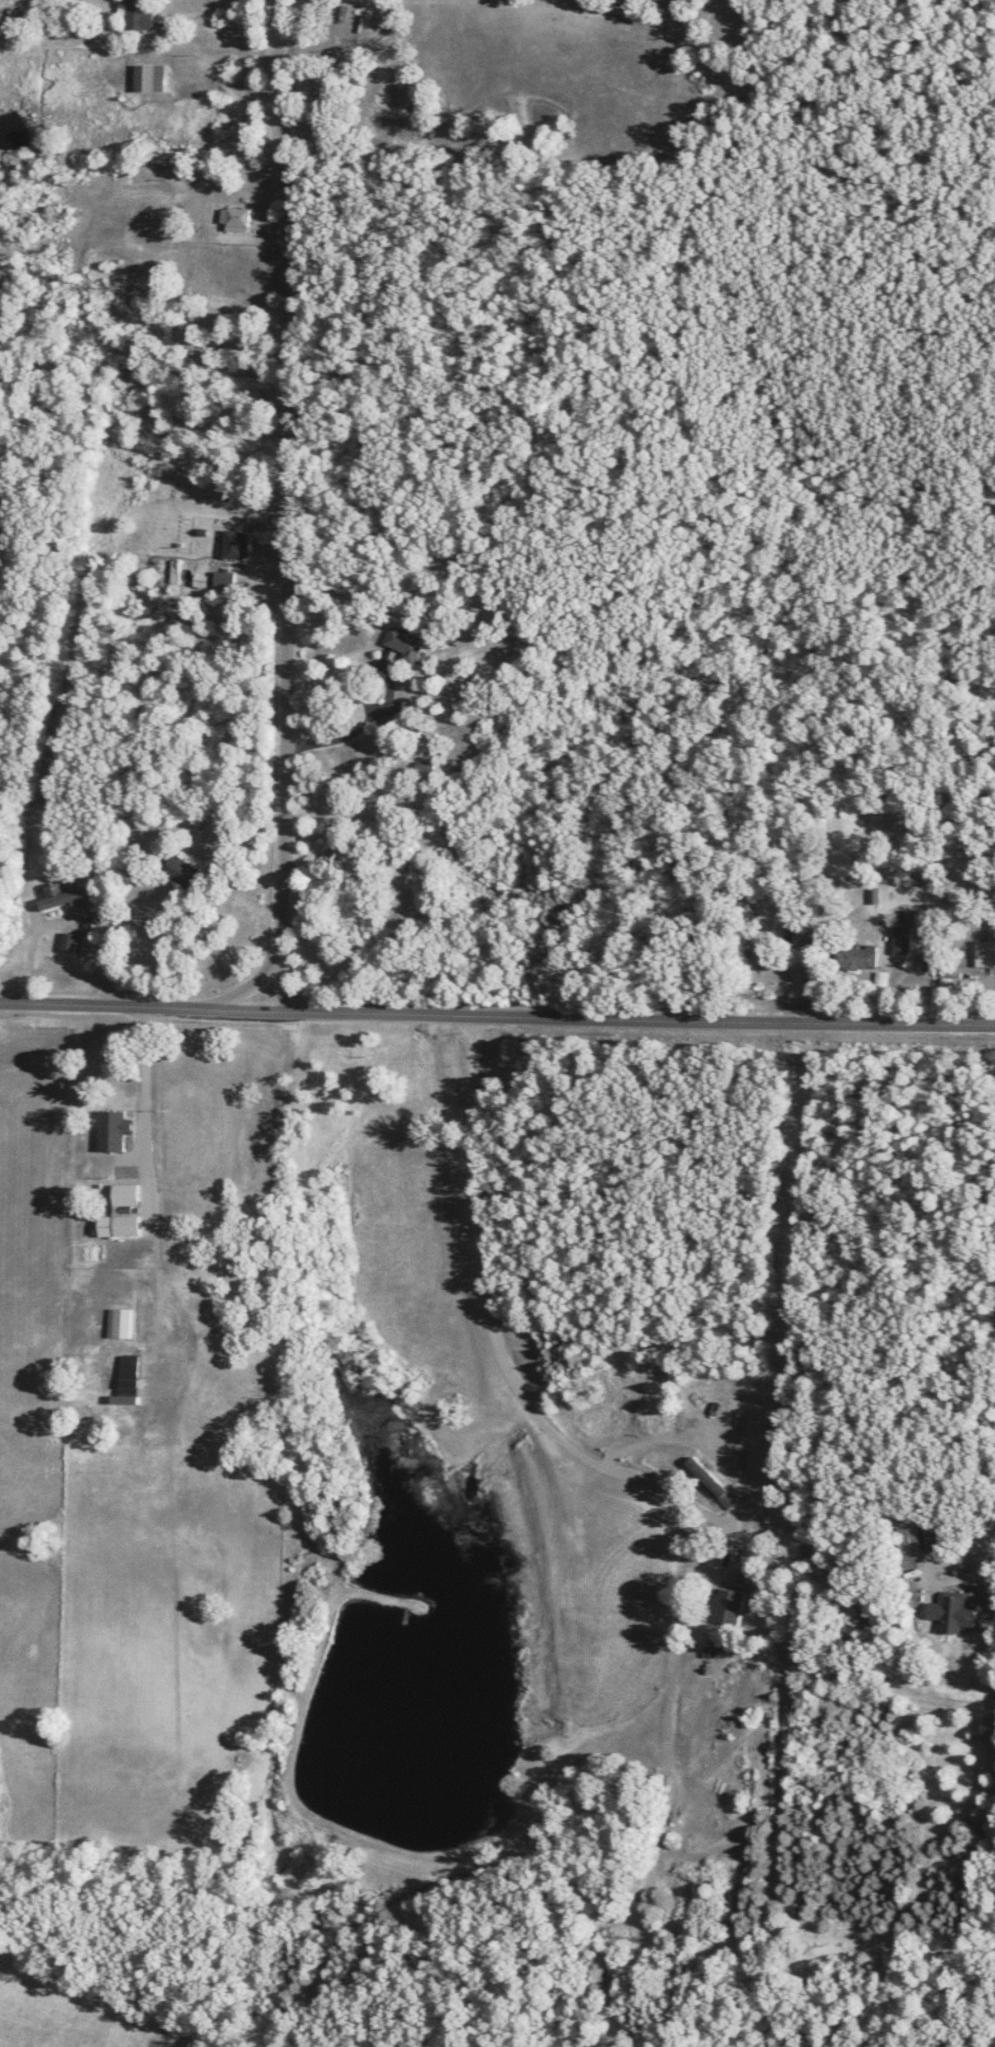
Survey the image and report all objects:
building: (665, 1)
road: (194, 10)
building: (135, 14)
building: (148, 78)
building: (233, 218)
road: (283, 479)
building: (233, 543)
building: (222, 578)
building: (402, 643)
road: (382, 704)
building: (423, 766)
building: (179, 869)
building: (61, 896)
building: (799, 936)
road: (30, 939)
building: (900, 940)
building: (67, 942)
road: (177, 952)
building: (985, 952)
building: (855, 958)
road: (285, 980)
road: (249, 981)
road: (497, 1004)
road: (143, 1111)
building: (112, 1129)
building: (120, 1212)
building: (118, 1322)
building: (126, 1380)
road: (449, 1382)
building: (704, 1476)
road: (991, 1530)
building: (909, 1539)
road: (926, 1576)
building: (735, 1607)
building: (950, 1611)
building: (994, 1693)

